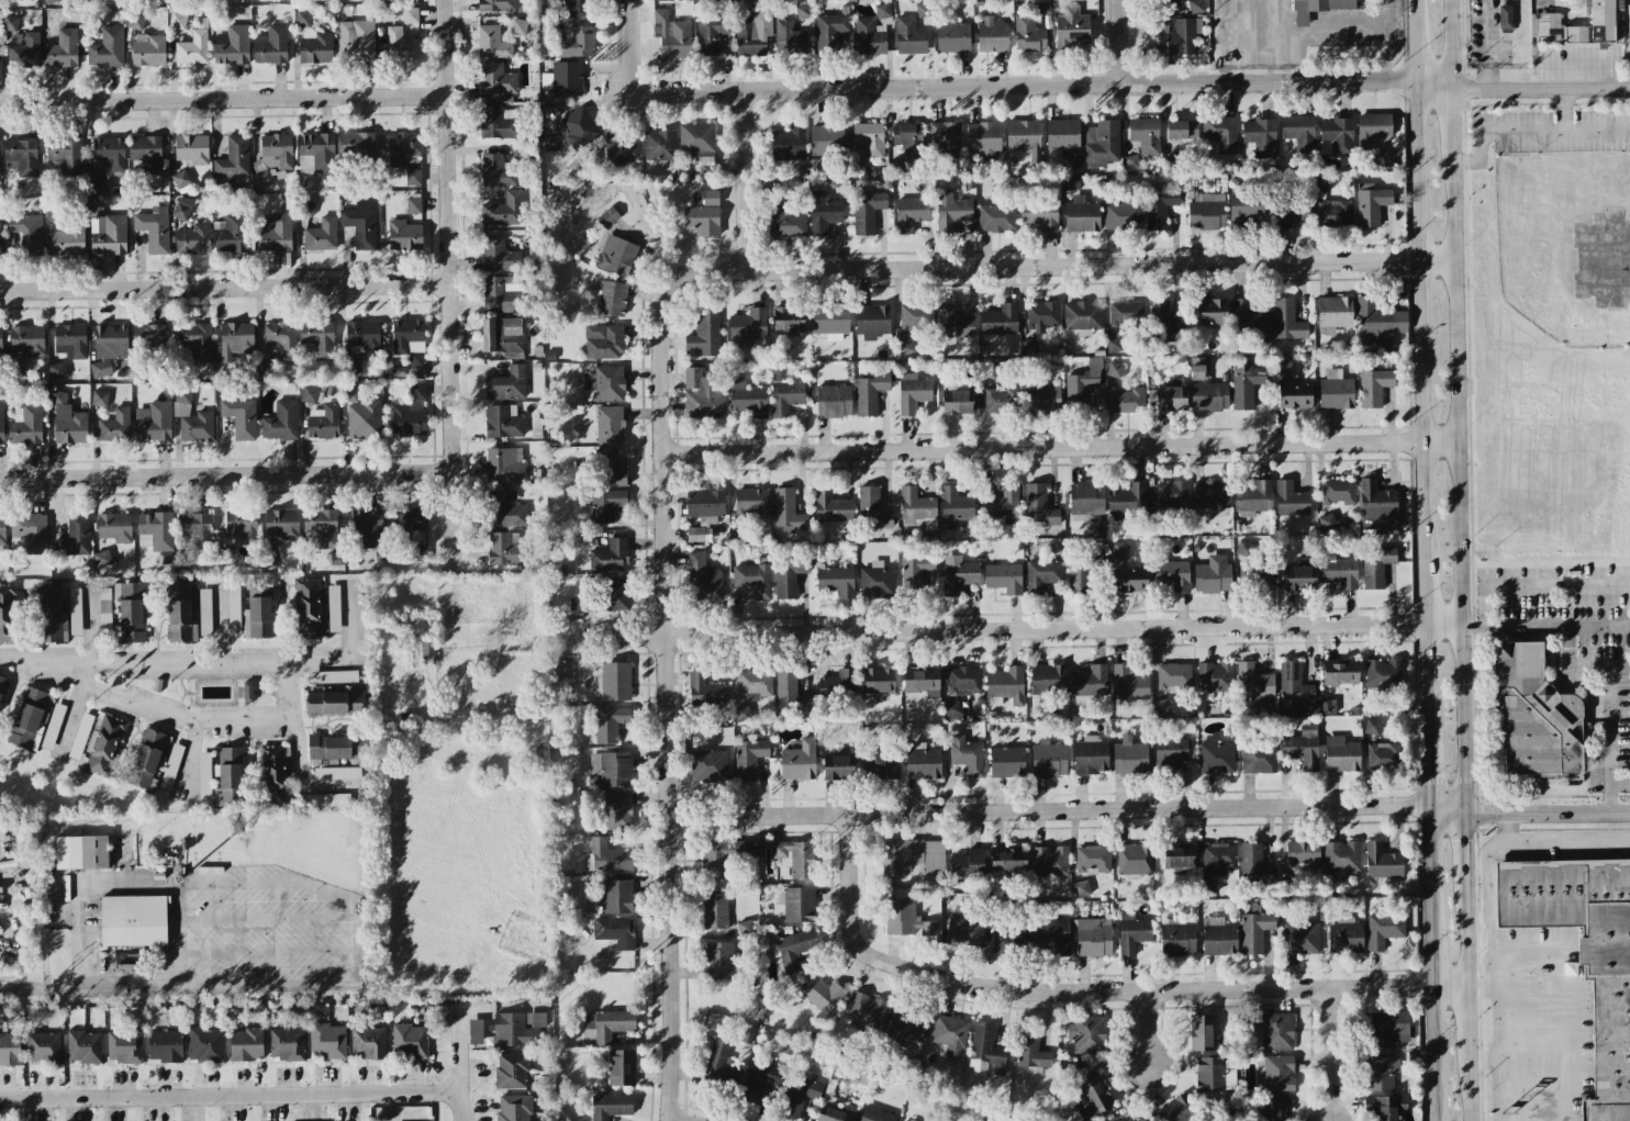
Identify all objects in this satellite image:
building: (255, 0)
building: (49, 1)
building: (496, 5)
building: (1195, 5)
flagpole: (1465, 5)
building: (577, 7)
building: (1317, 9)
building: (882, 10)
building: (923, 10)
road: (1410, 11)
building: (802, 12)
building: (761, 13)
building: (410, 15)
flagpole: (1466, 16)
building: (1506, 18)
building: (302, 19)
building: (134, 21)
building: (10, 23)
flagpole: (1466, 25)
building: (1595, 25)
building: (1547, 26)
building: (517, 27)
building: (1071, 27)
building: (1031, 29)
building: (831, 32)
building: (671, 34)
building: (711, 34)
flagpole: (1466, 34)
building: (951, 35)
building: (992, 35)
building: (908, 36)
building: (1182, 36)
building: (789, 37)
building: (869, 37)
building: (356, 40)
building: (749, 40)
road: (1385, 40)
road: (1121, 41)
road: (1296, 42)
building: (491, 43)
building: (576, 43)
road: (1447, 43)
building: (270, 45)
building: (400, 45)
flagpole: (1466, 45)
road: (1487, 45)
building: (68, 46)
building: (193, 46)
building: (233, 46)
building: (107, 47)
building: (23, 49)
building: (148, 51)
road: (1411, 52)
flagpole: (1466, 55)
road: (630, 56)
road: (1236, 57)
flagpole: (1466, 64)
flagpole: (1480, 68)
flagpole: (1494, 68)
building: (566, 78)
building: (495, 79)
road: (1053, 82)
road: (1538, 89)
road: (224, 99)
road: (1562, 110)
road: (1448, 112)
building: (498, 122)
building: (578, 128)
building: (1181, 128)
building: (1372, 128)
building: (1298, 131)
road: (1525, 132)
building: (1143, 134)
building: (1219, 135)
building: (1261, 135)
building: (1338, 135)
building: (1024, 137)
building: (826, 138)
building: (869, 138)
building: (908, 139)
building: (945, 139)
building: (983, 139)
building: (1102, 142)
building: (551, 143)
building: (356, 144)
building: (788, 144)
building: (697, 146)
building: (622, 147)
building: (659, 147)
building: (191, 148)
building: (277, 148)
building: (402, 149)
building: (110, 152)
building: (315, 153)
building: (66, 154)
building: (146, 154)
building: (21, 156)
building: (232, 161)
building: (1131, 161)
building: (895, 167)
building: (495, 170)
building: (268, 172)
building: (412, 177)
building: (180, 179)
road: (745, 180)
building: (94, 181)
building: (1069, 183)
building: (1371, 203)
building: (413, 205)
building: (1159, 206)
building: (182, 208)
building: (1244, 208)
building: (306, 209)
building: (503, 211)
building: (864, 211)
building: (823, 212)
building: (1206, 212)
building: (1332, 213)
building: (909, 214)
building: (952, 214)
building: (1292, 214)
building: (704, 215)
building: (1039, 215)
building: (1081, 215)
building: (1123, 215)
building: (996, 216)
building: (607, 217)
building: (786, 221)
building: (360, 224)
building: (154, 228)
building: (27, 233)
building: (108, 234)
building: (231, 234)
building: (275, 234)
building: (321, 235)
building: (403, 235)
building: (193, 238)
building: (66, 240)
building: (0, 253)
building: (616, 255)
building: (498, 256)
road: (1028, 266)
road: (451, 285)
road: (225, 288)
building: (502, 293)
building: (610, 298)
building: (1158, 312)
building: (1210, 312)
building: (1126, 313)
building: (1333, 314)
building: (1041, 315)
building: (1082, 316)
building: (788, 318)
building: (916, 318)
building: (1248, 318)
building: (1000, 320)
building: (1286, 320)
building: (829, 321)
building: (872, 321)
building: (1372, 321)
building: (953, 323)
road: (1416, 323)
building: (747, 327)
building: (704, 333)
building: (149, 334)
building: (362, 335)
building: (502, 336)
building: (280, 337)
building: (319, 338)
building: (26, 339)
building: (234, 339)
building: (196, 340)
building: (70, 341)
building: (603, 341)
building: (410, 343)
building: (1029, 347)
building: (0, 348)
building: (108, 348)
building: (350, 366)
building: (1196, 368)
building: (13, 369)
building: (989, 370)
building: (1114, 370)
building: (56, 371)
building: (605, 383)
building: (1244, 383)
building: (506, 384)
building: (1082, 384)
building: (1373, 386)
building: (1291, 390)
building: (416, 391)
building: (1335, 391)
building: (912, 392)
building: (351, 394)
building: (702, 394)
building: (784, 394)
building: (869, 394)
building: (309, 395)
building: (1208, 396)
building: (58, 399)
building: (99, 399)
building: (747, 399)
building: (1041, 399)
building: (1169, 399)
building: (1001, 400)
building: (833, 401)
building: (1127, 401)
building: (956, 403)
building: (239, 417)
building: (191, 418)
building: (364, 419)
building: (406, 421)
building: (154, 422)
building: (280, 422)
building: (323, 422)
building: (502, 422)
building: (1, 425)
building: (25, 425)
building: (609, 425)
building: (114, 426)
building: (70, 427)
road: (1059, 448)
building: (504, 464)
building: (610, 469)
road: (227, 475)
road: (1455, 475)
building: (1338, 491)
building: (1170, 493)
building: (1210, 494)
building: (1086, 497)
building: (1254, 497)
building: (1290, 500)
building: (751, 502)
building: (868, 502)
building: (1127, 502)
building: (954, 503)
building: (1002, 503)
building: (605, 504)
building: (830, 506)
building: (915, 506)
building: (1038, 506)
building: (1376, 506)
building: (506, 509)
building: (703, 511)
building: (786, 512)
building: (411, 522)
building: (1327, 522)
building: (281, 524)
building: (242, 526)
building: (367, 526)
building: (114, 527)
building: (321, 527)
building: (155, 530)
building: (196, 530)
building: (738, 530)
building: (29, 533)
building: (1, 535)
building: (75, 535)
building: (1243, 548)
building: (505, 549)
building: (1119, 551)
building: (418, 552)
building: (227, 556)
building: (610, 556)
building: (101, 558)
building: (1375, 567)
building: (1337, 570)
building: (916, 571)
building: (1081, 573)
building: (958, 574)
building: (1212, 574)
building: (1041, 575)
building: (1171, 575)
building: (1003, 578)
building: (702, 579)
building: (752, 579)
building: (1297, 579)
building: (1129, 580)
building: (836, 581)
building: (875, 581)
building: (614, 594)
road: (1420, 594)
building: (588, 604)
building: (308, 607)
building: (333, 608)
building: (234, 609)
building: (104, 610)
building: (258, 610)
building: (75, 612)
building: (204, 612)
building: (52, 613)
building: (7, 614)
building: (129, 614)
building: (179, 614)
road: (1536, 615)
road: (1061, 629)
road: (607, 638)
building: (426, 650)
road: (192, 659)
road: (1608, 659)
building: (1339, 672)
building: (1173, 675)
building: (334, 676)
building: (1214, 676)
building: (1381, 676)
building: (1047, 680)
building: (615, 681)
building: (922, 681)
building: (963, 681)
building: (1088, 682)
building: (837, 683)
building: (878, 683)
building: (1128, 683)
road: (1422, 683)
building: (1, 684)
building: (755, 684)
building: (1006, 684)
building: (1252, 685)
building: (785, 687)
building: (1293, 687)
building: (703, 691)
building: (247, 692)
building: (334, 703)
building: (1047, 706)
building: (1161, 706)
building: (1328, 706)
building: (952, 710)
building: (741, 714)
building: (1534, 715)
building: (30, 718)
road: (186, 720)
building: (609, 724)
building: (52, 726)
building: (1371, 727)
road: (668, 730)
building: (80, 736)
building: (104, 746)
building: (337, 747)
building: (1302, 747)
building: (1170, 751)
building: (1340, 754)
building: (967, 755)
building: (1090, 755)
building: (1383, 755)
building: (1129, 756)
building: (1258, 756)
building: (147, 758)
road: (188, 759)
building: (748, 759)
building: (1048, 759)
building: (799, 761)
building: (922, 762)
building: (1006, 762)
building: (880, 764)
building: (170, 765)
building: (707, 765)
building: (836, 767)
building: (611, 769)
building: (275, 773)
building: (336, 773)
building: (203, 775)
road: (1426, 775)
building: (230, 776)
road: (1620, 783)
building: (325, 799)
traffic signals: (1427, 808)
road: (1150, 809)
building: (617, 810)
traffic signals: (1461, 814)
road: (1505, 827)
building: (80, 852)
building: (1302, 854)
road: (1462, 854)
building: (607, 856)
building: (721, 856)
building: (794, 856)
building: (912, 856)
building: (1177, 856)
building: (1340, 856)
building: (1007, 859)
building: (1092, 859)
building: (1218, 859)
building: (1134, 860)
building: (1049, 861)
building: (1251, 861)
building: (1382, 861)
building: (968, 864)
road: (1427, 868)
road: (174, 883)
building: (1206, 887)
building: (1080, 888)
building: (615, 896)
building: (714, 910)
road: (269, 918)
building: (905, 919)
building: (133, 920)
road: (1489, 924)
building: (745, 928)
building: (1254, 929)
building: (1383, 929)
building: (964, 930)
building: (614, 931)
building: (1131, 933)
building: (1300, 935)
building: (1344, 935)
building: (1053, 937)
building: (1218, 937)
building: (1093, 938)
building: (1176, 939)
road: (1462, 941)
building: (1003, 942)
building: (795, 948)
road: (270, 951)
road: (356, 953)
building: (1584, 953)
road: (1428, 959)
building: (718, 961)
road: (1487, 985)
road: (43, 987)
road: (1090, 990)
road: (473, 994)
building: (820, 994)
building: (864, 1012)
road: (1561, 1012)
road: (1463, 1023)
building: (609, 1024)
building: (905, 1025)
building: (516, 1029)
road: (1149, 1029)
building: (1391, 1029)
building: (475, 1031)
building: (1276, 1031)
building: (1201, 1032)
building: (1086, 1034)
building: (950, 1035)
building: (327, 1041)
building: (409, 1041)
building: (367, 1043)
building: (245, 1044)
building: (286, 1044)
building: (204, 1045)
building: (83, 1046)
building: (123, 1046)
building: (165, 1046)
building: (42, 1047)
building: (9, 1049)
building: (985, 1051)
building: (1031, 1053)
road: (1428, 1054)
road: (1326, 1055)
building: (717, 1061)
road: (1489, 1061)
building: (621, 1067)
building: (511, 1070)
building: (1213, 1073)
building: (1275, 1073)
building: (1381, 1073)
building: (758, 1080)
road: (1464, 1091)
road: (231, 1092)
building: (800, 1095)
building: (1091, 1098)
building: (610, 1106)
building: (1384, 1107)
building: (513, 1108)
building: (1270, 1108)
building: (1177, 1109)
building: (833, 1114)
building: (874, 1114)
road: (682, 1119)
building: (900, 1120)

